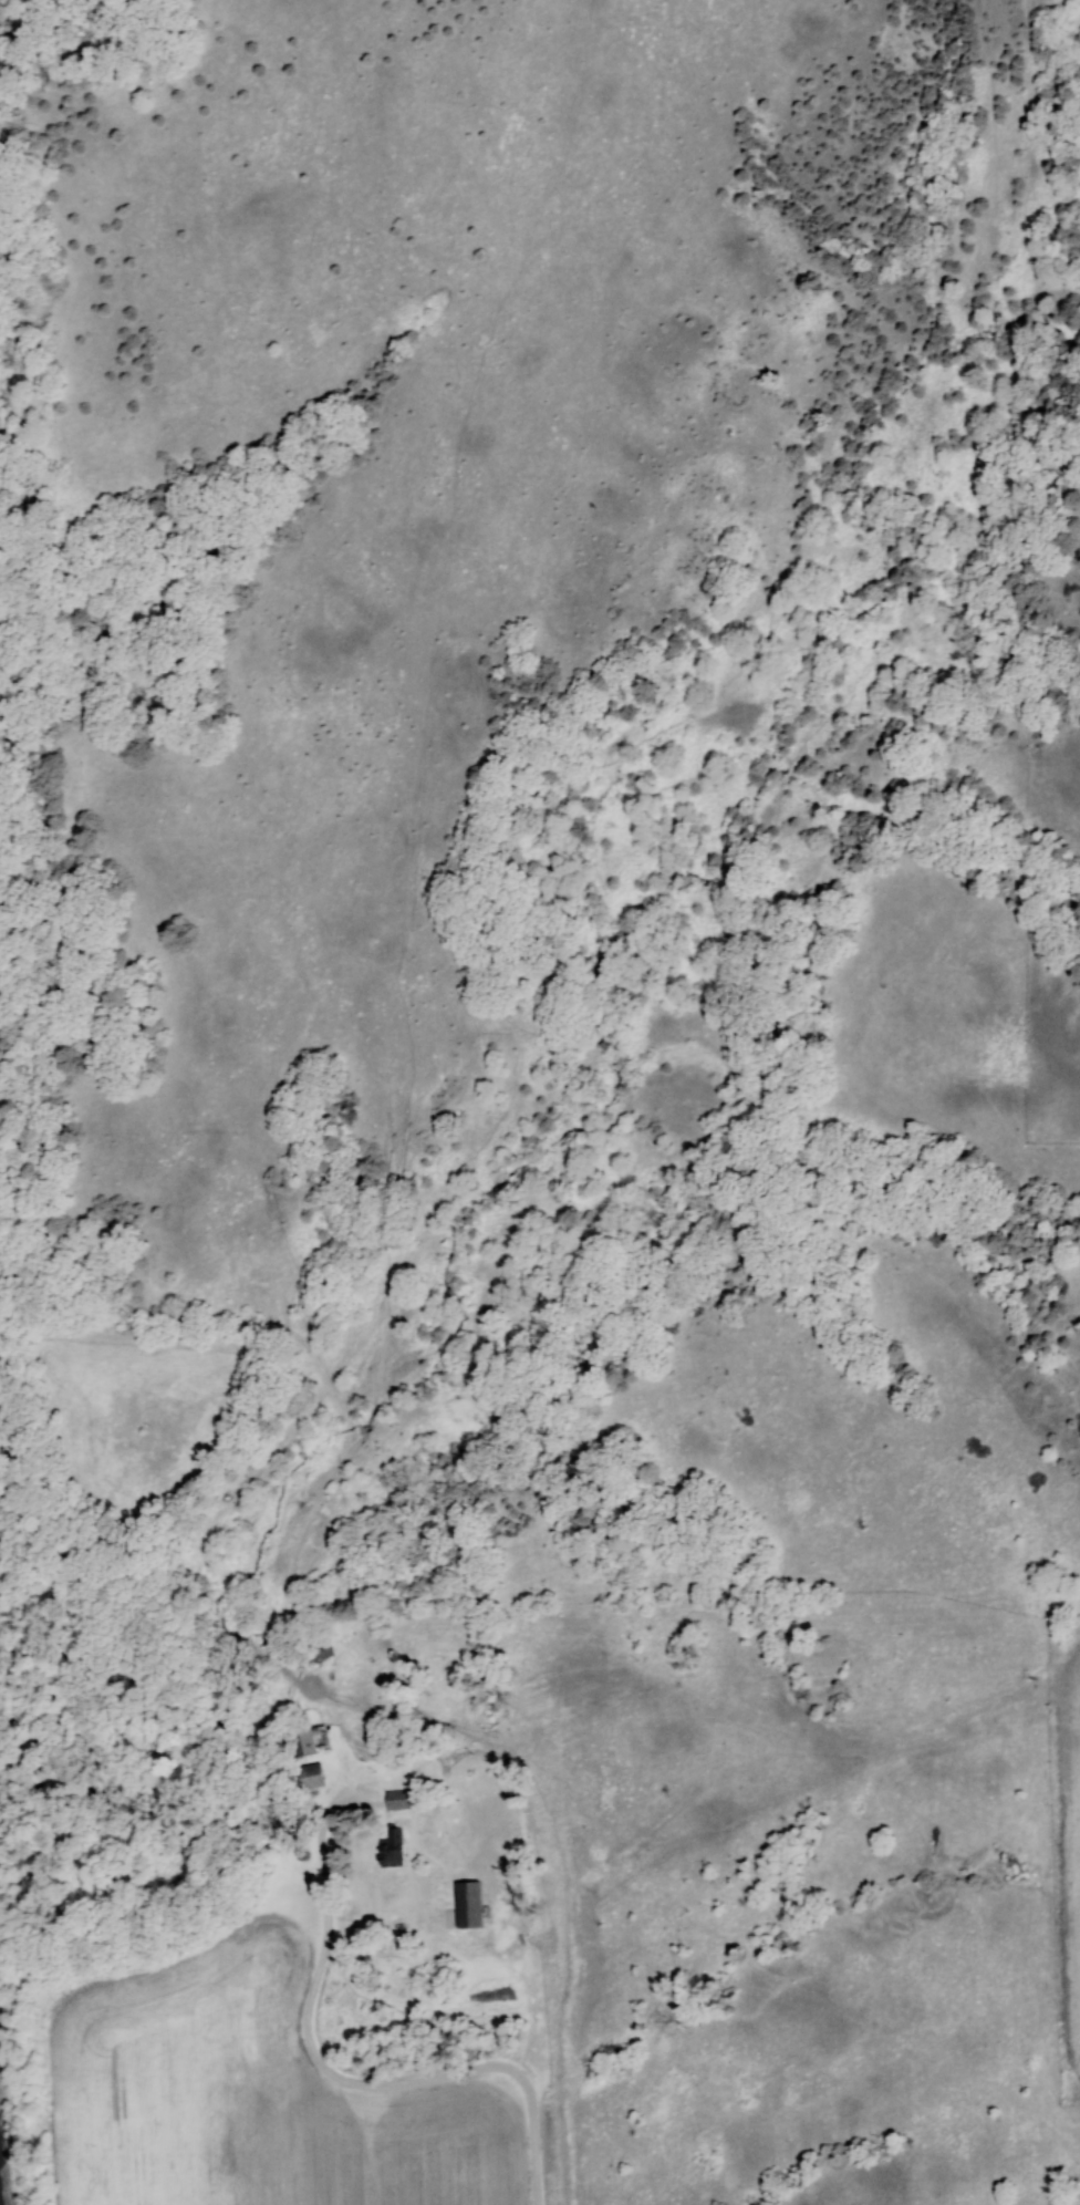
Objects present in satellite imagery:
building: (313, 1649)
building: (308, 1742)
building: (311, 1776)
building: (397, 1799)
building: (394, 1845)
building: (468, 1905)
road: (385, 2077)

